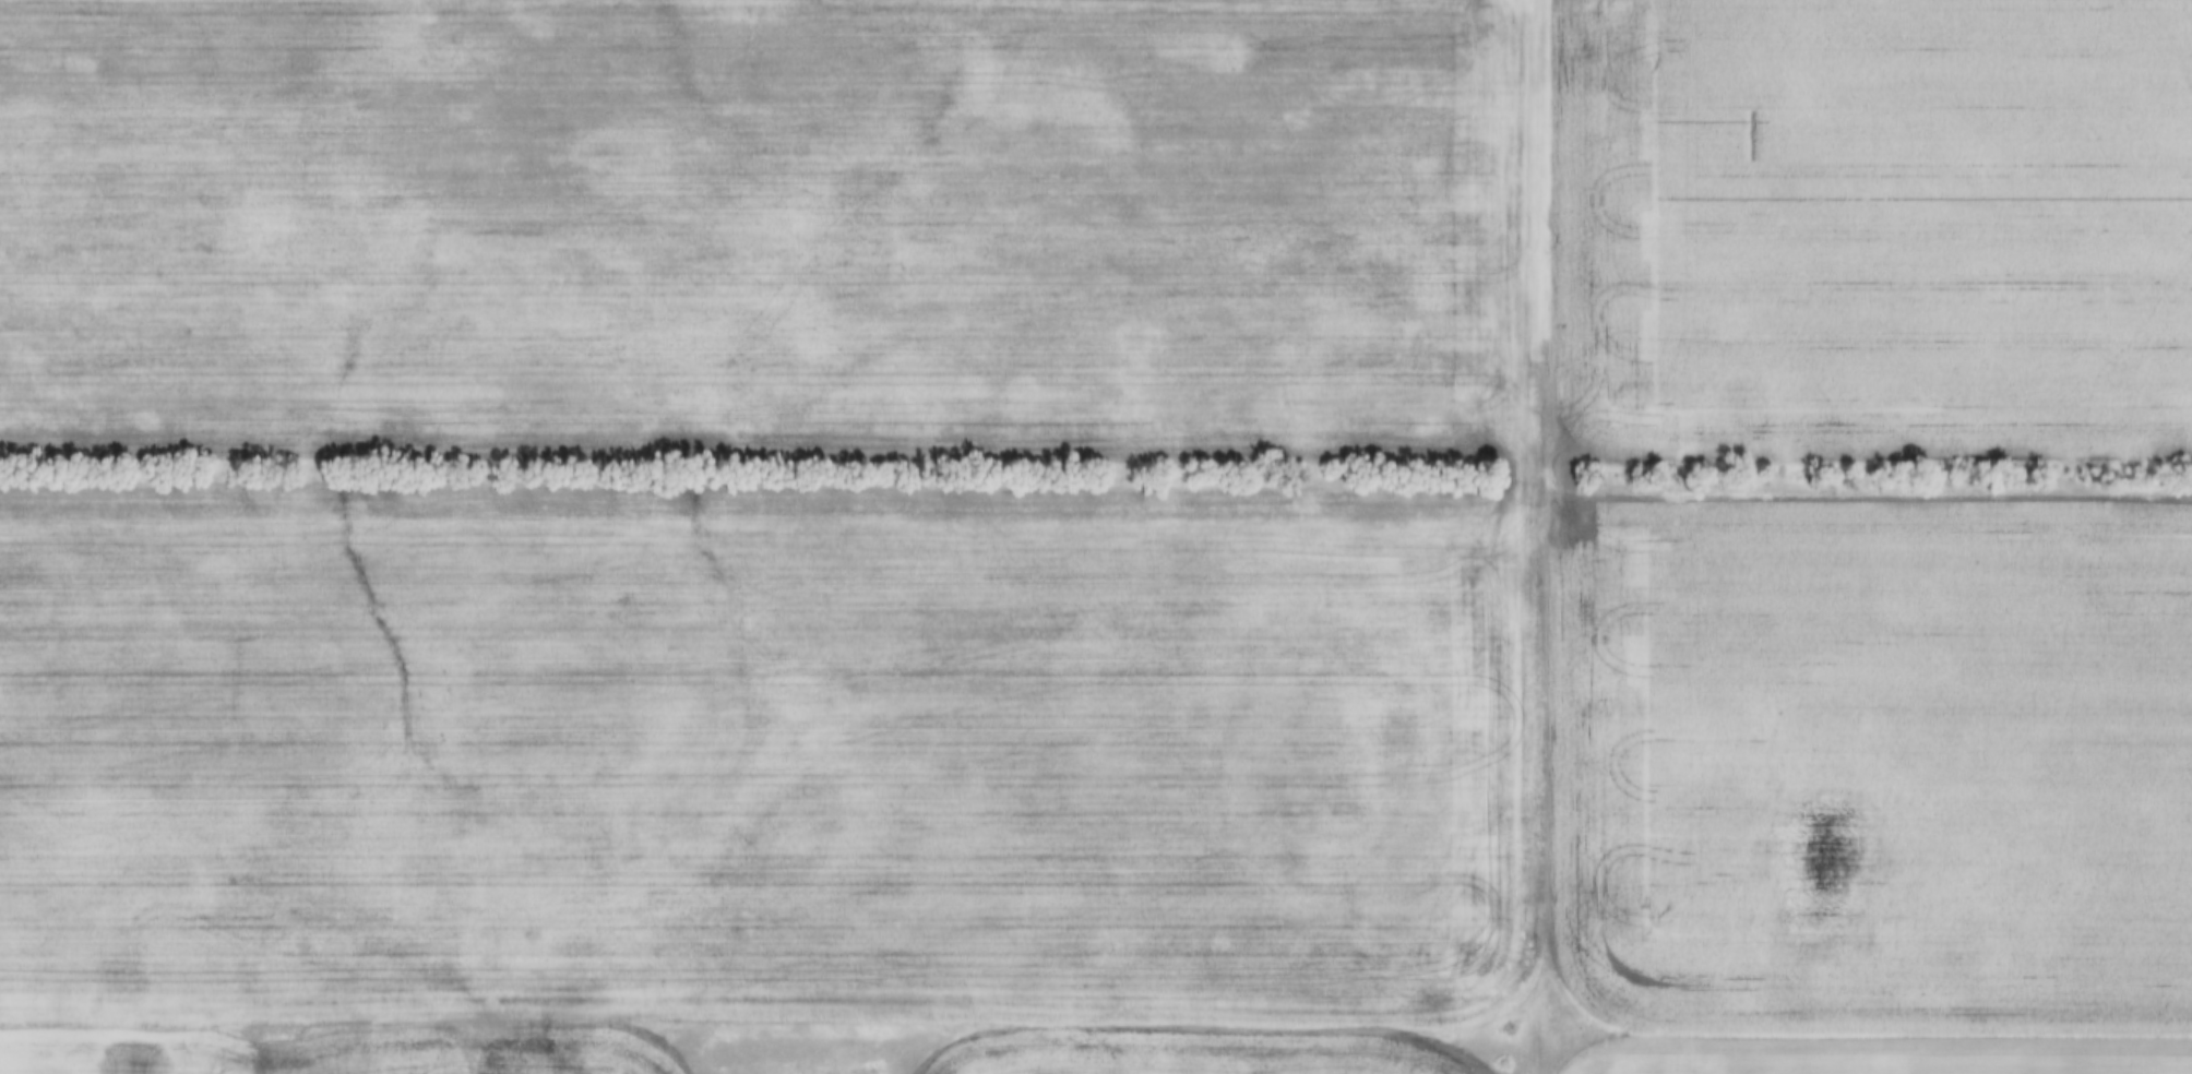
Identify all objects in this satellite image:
road: (1533, 1067)

